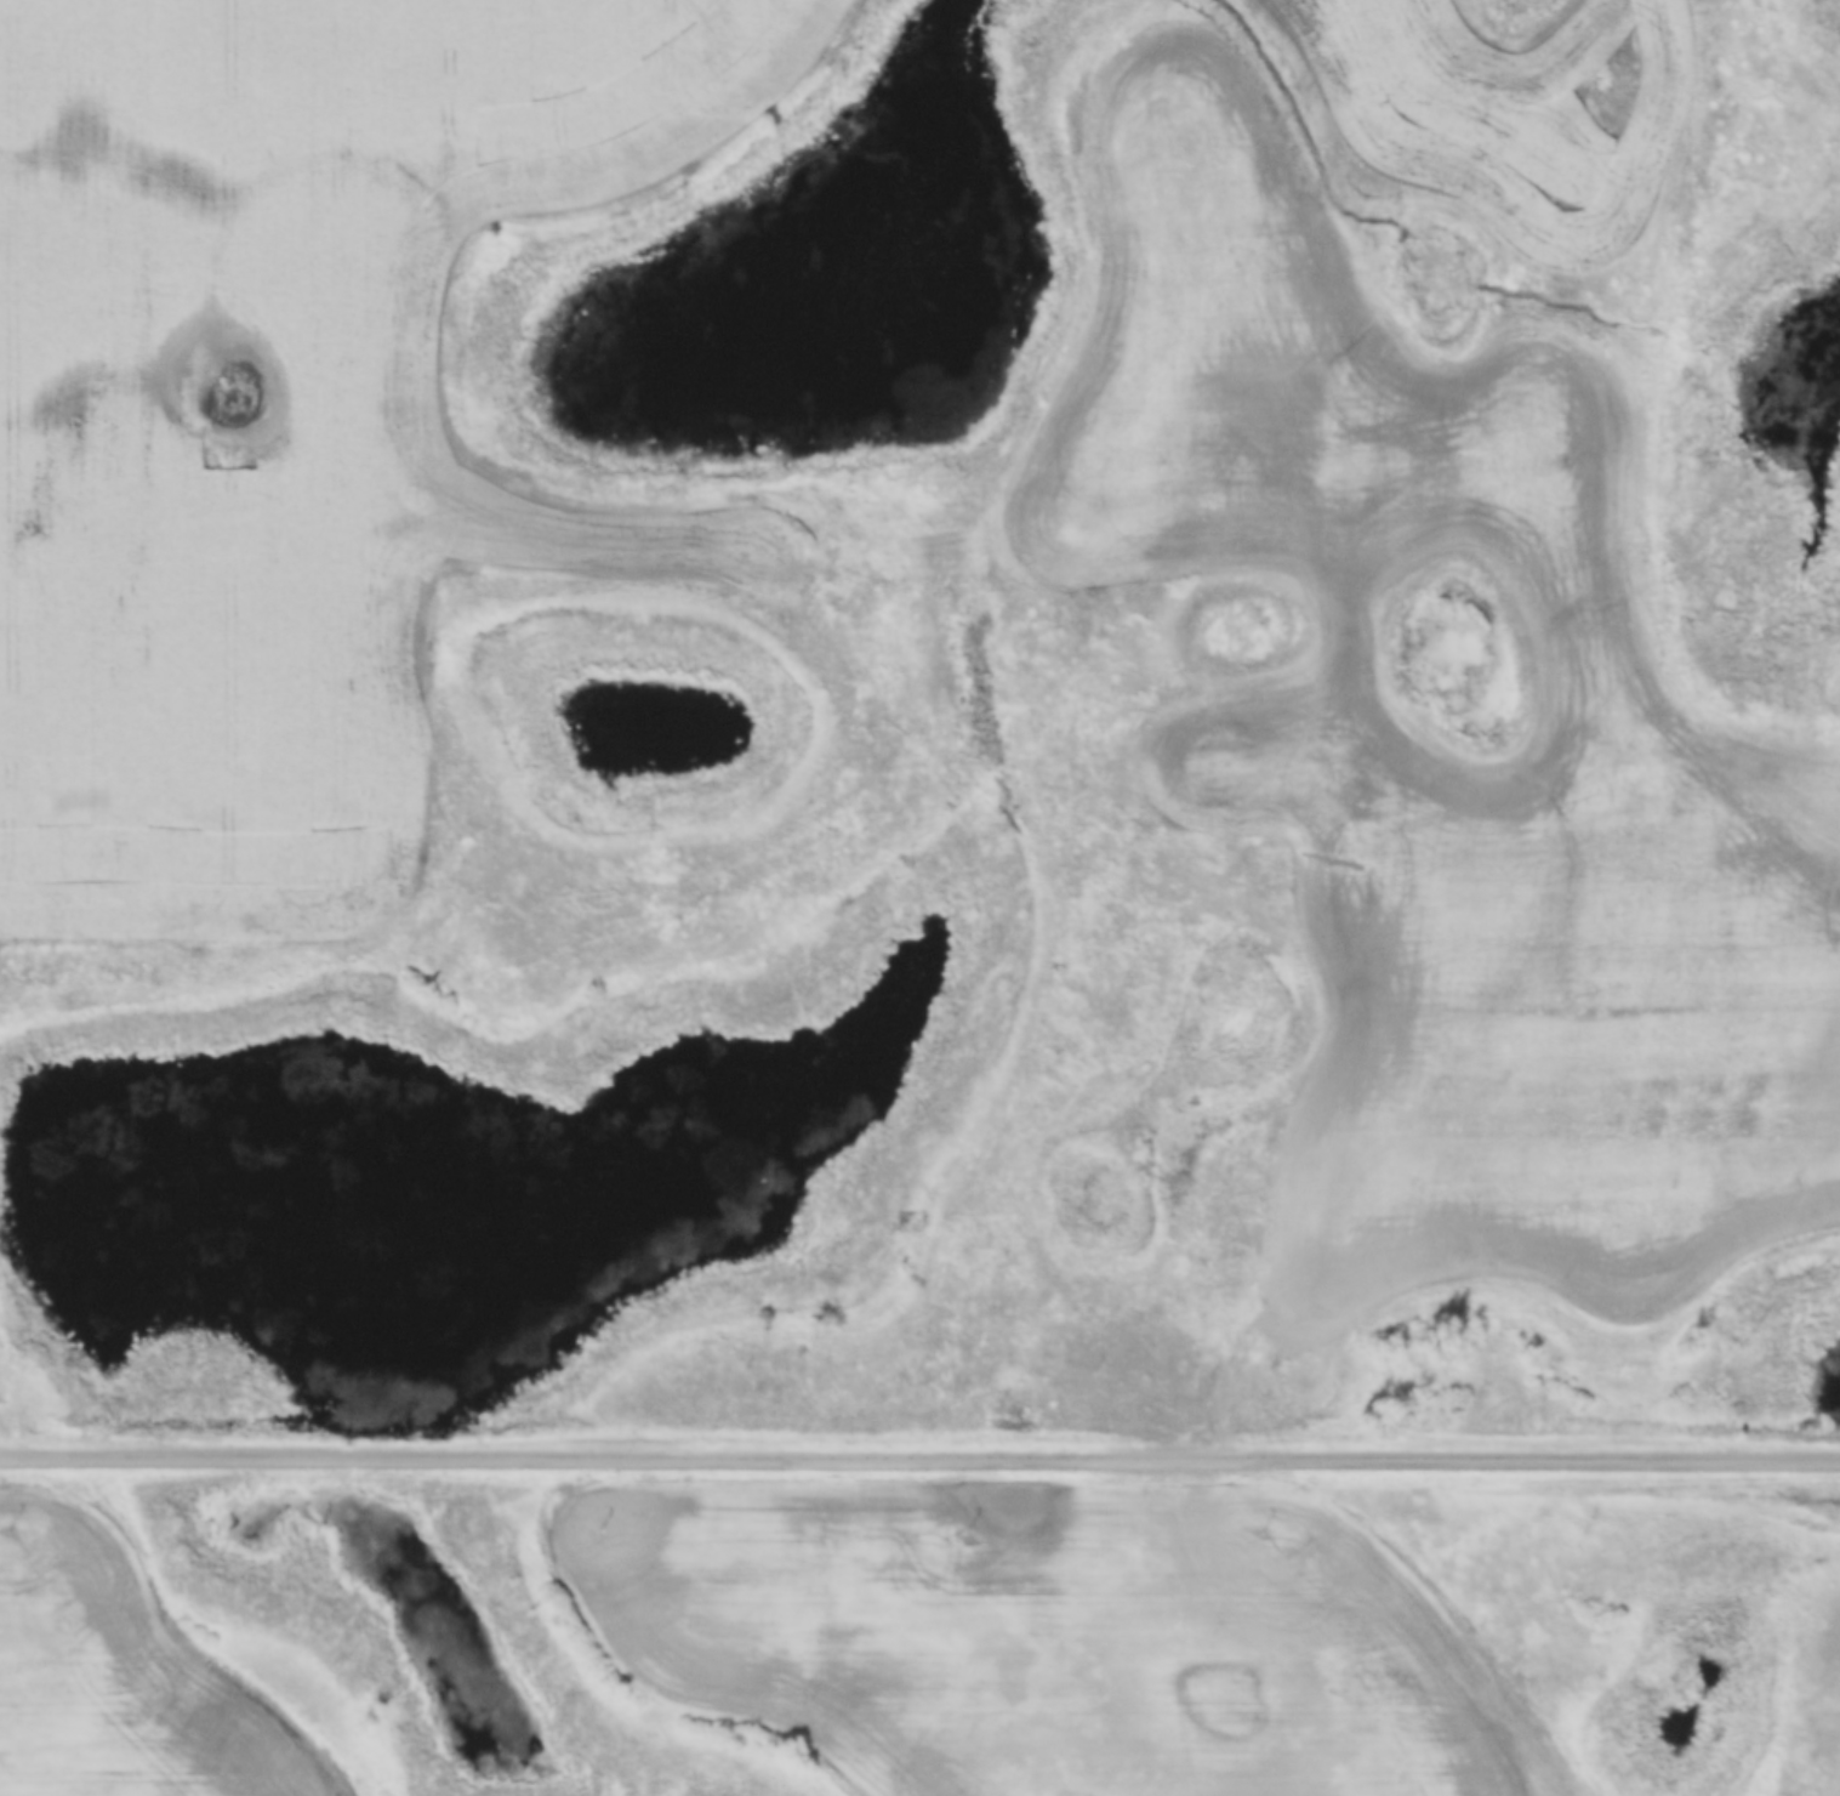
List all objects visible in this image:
road: (919, 1461)

